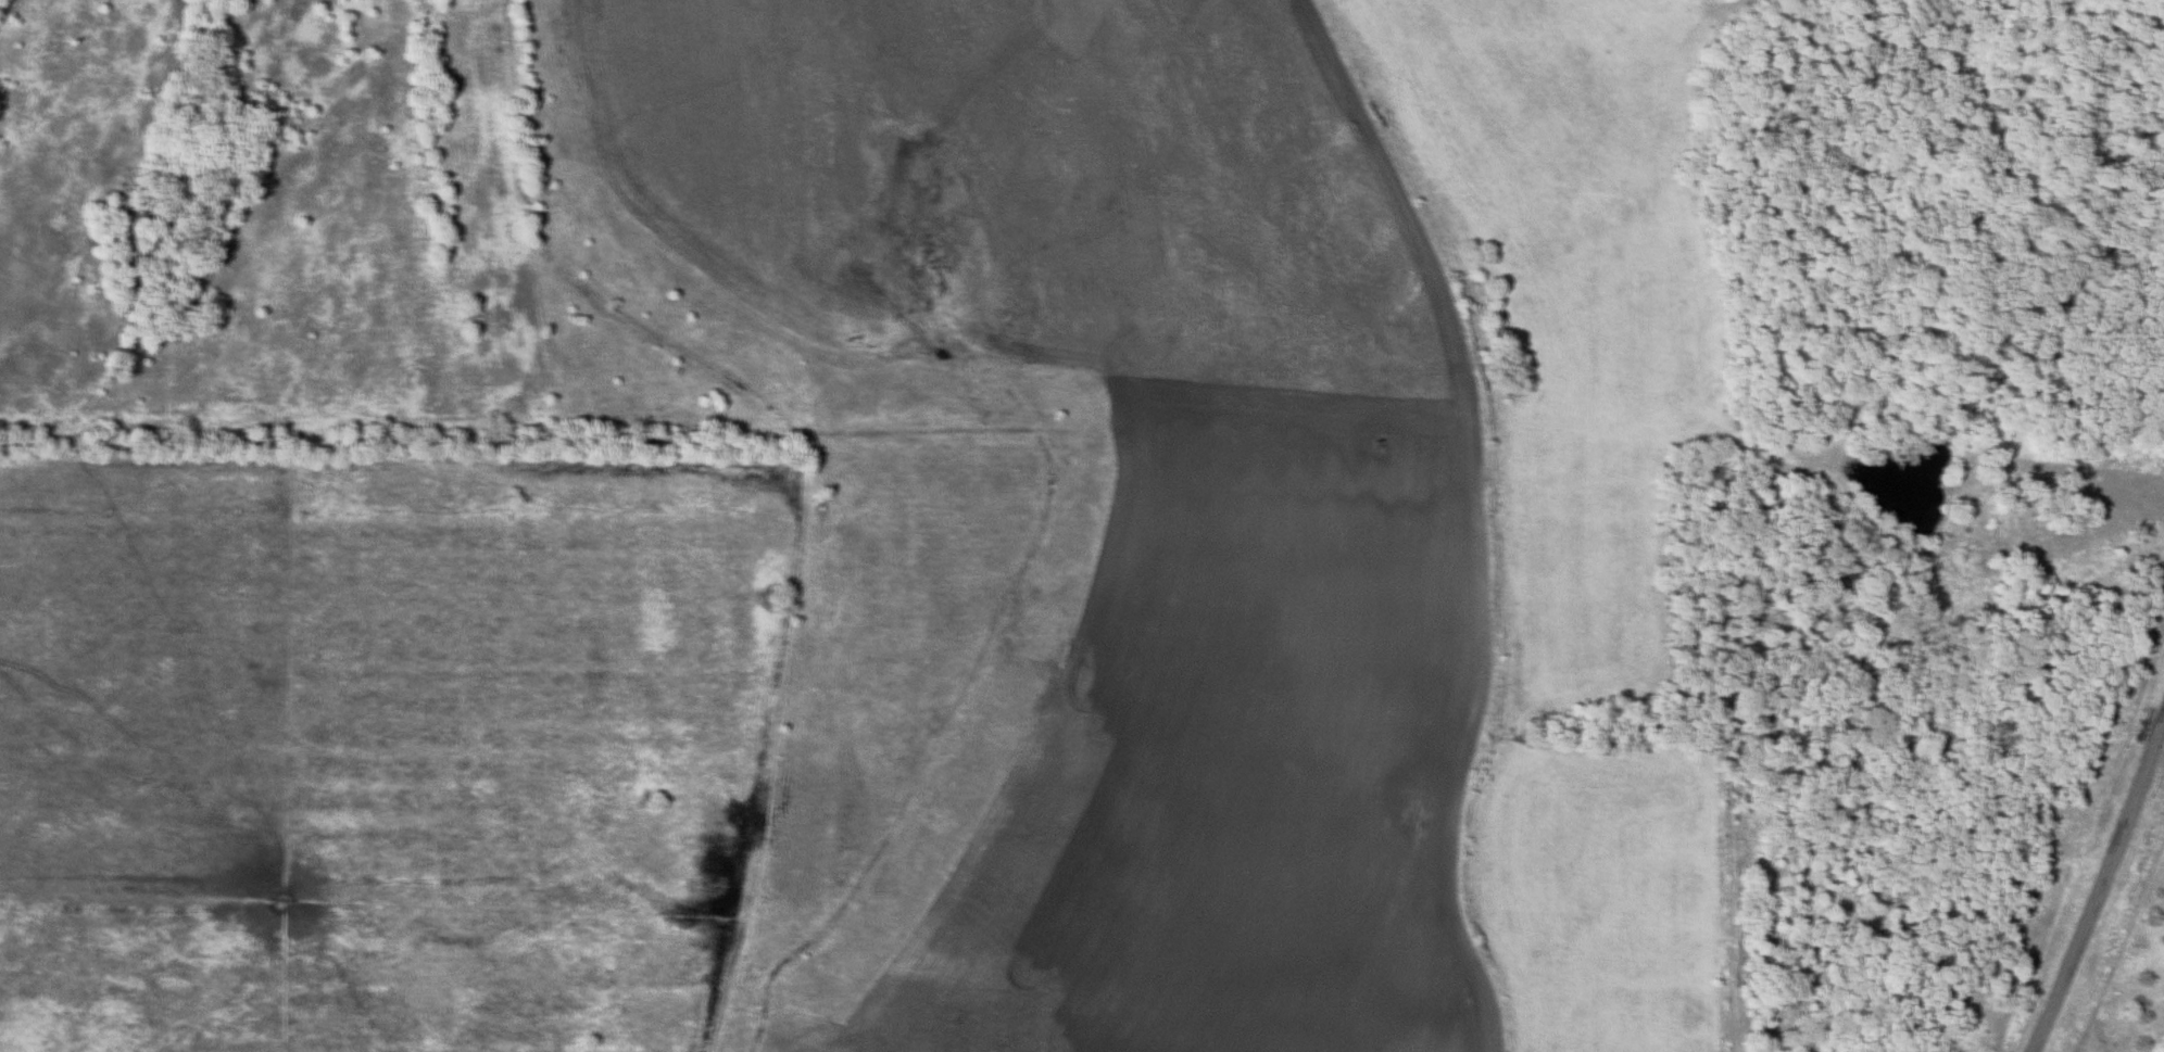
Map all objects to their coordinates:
road: (2104, 890)

